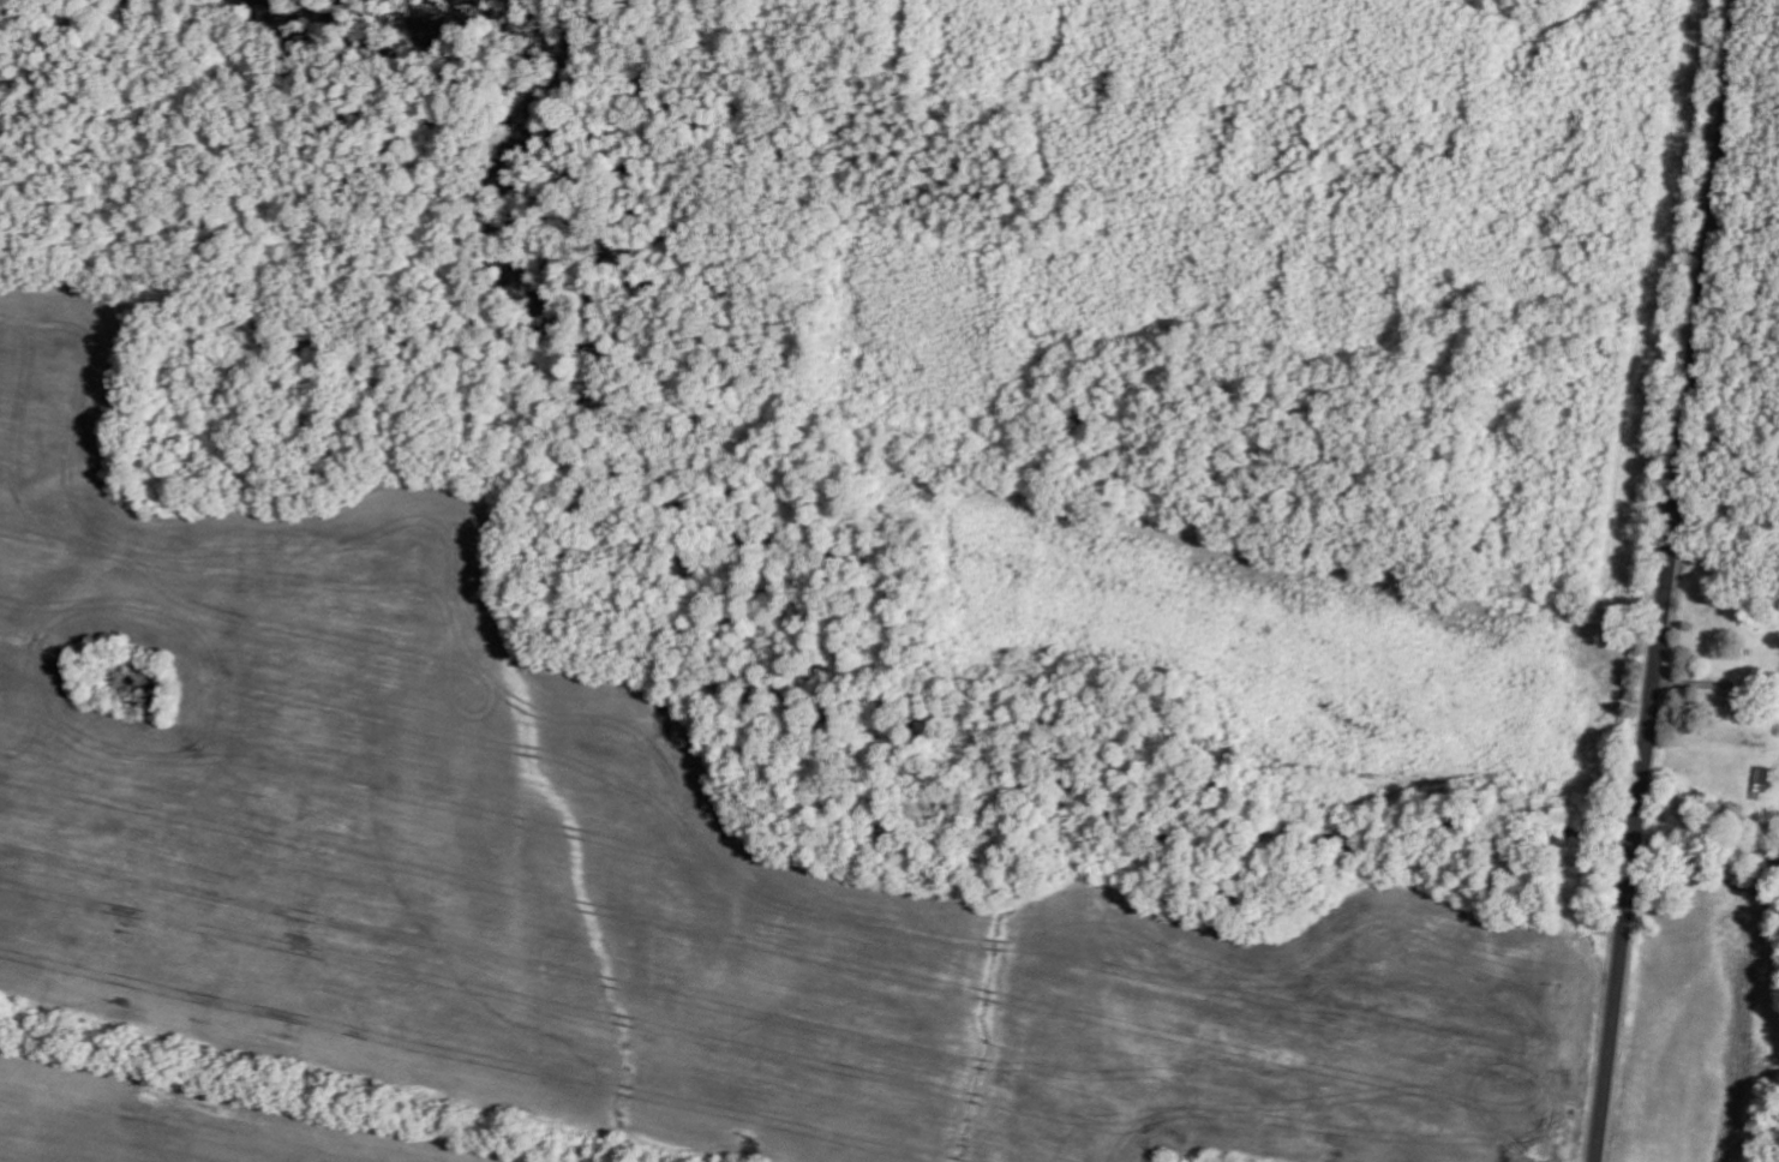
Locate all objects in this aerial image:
road: (1669, 580)

